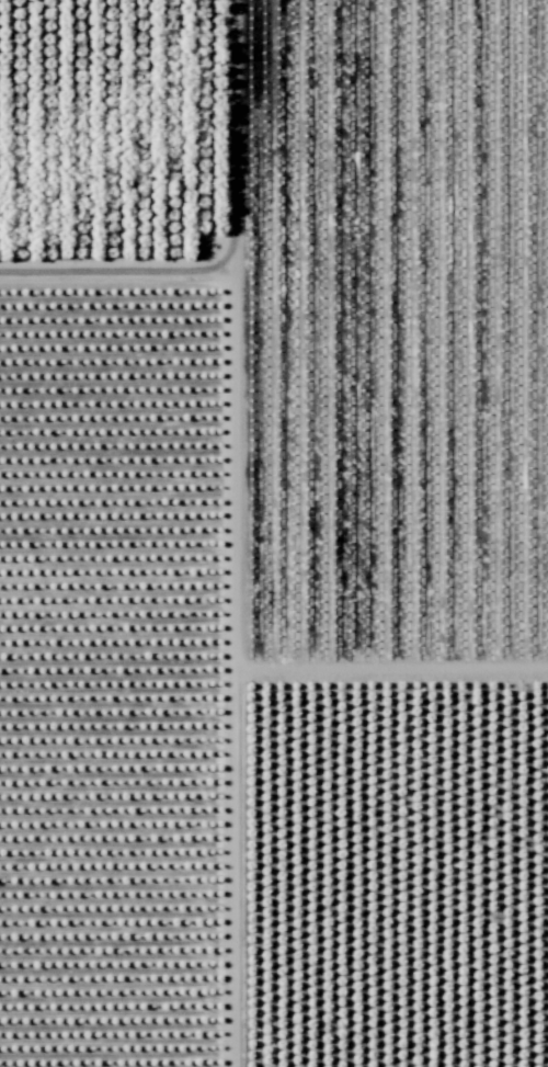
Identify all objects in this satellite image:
road: (236, 249)

